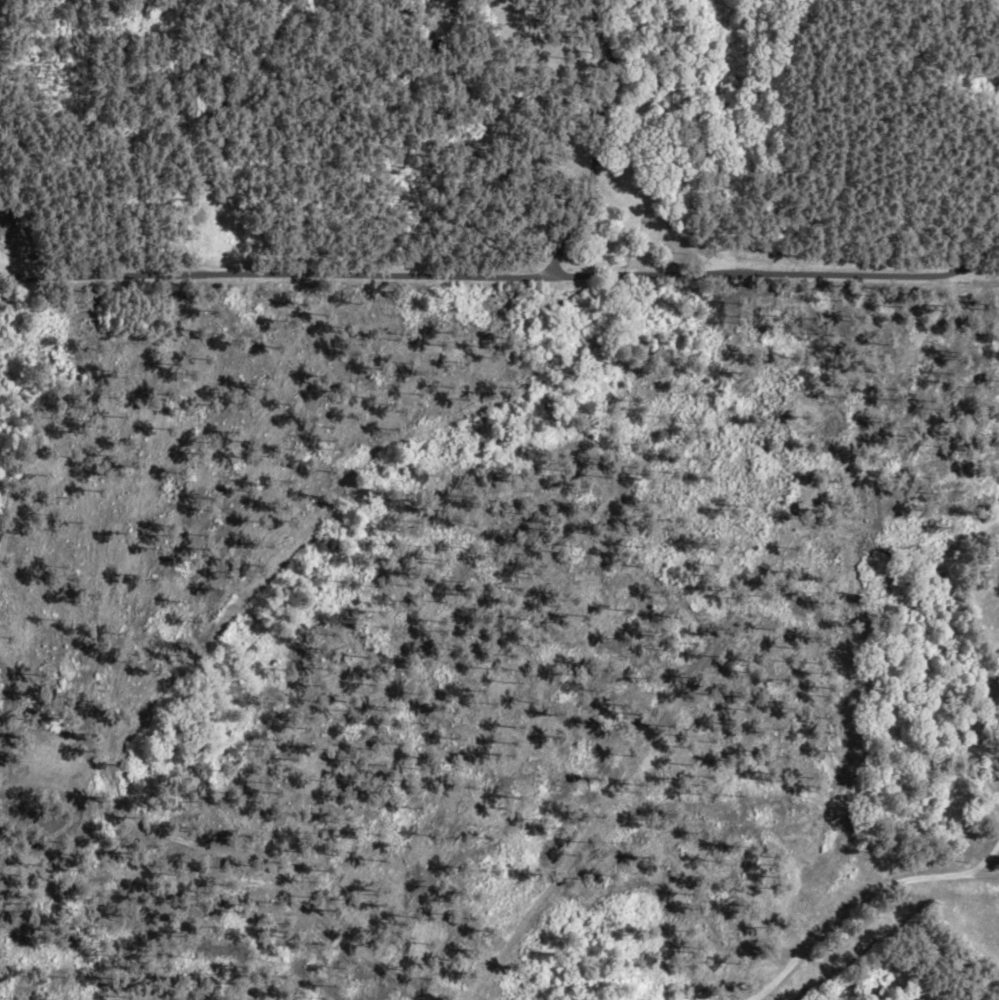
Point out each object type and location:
road: (592, 137)
road: (512, 276)
road: (864, 896)

